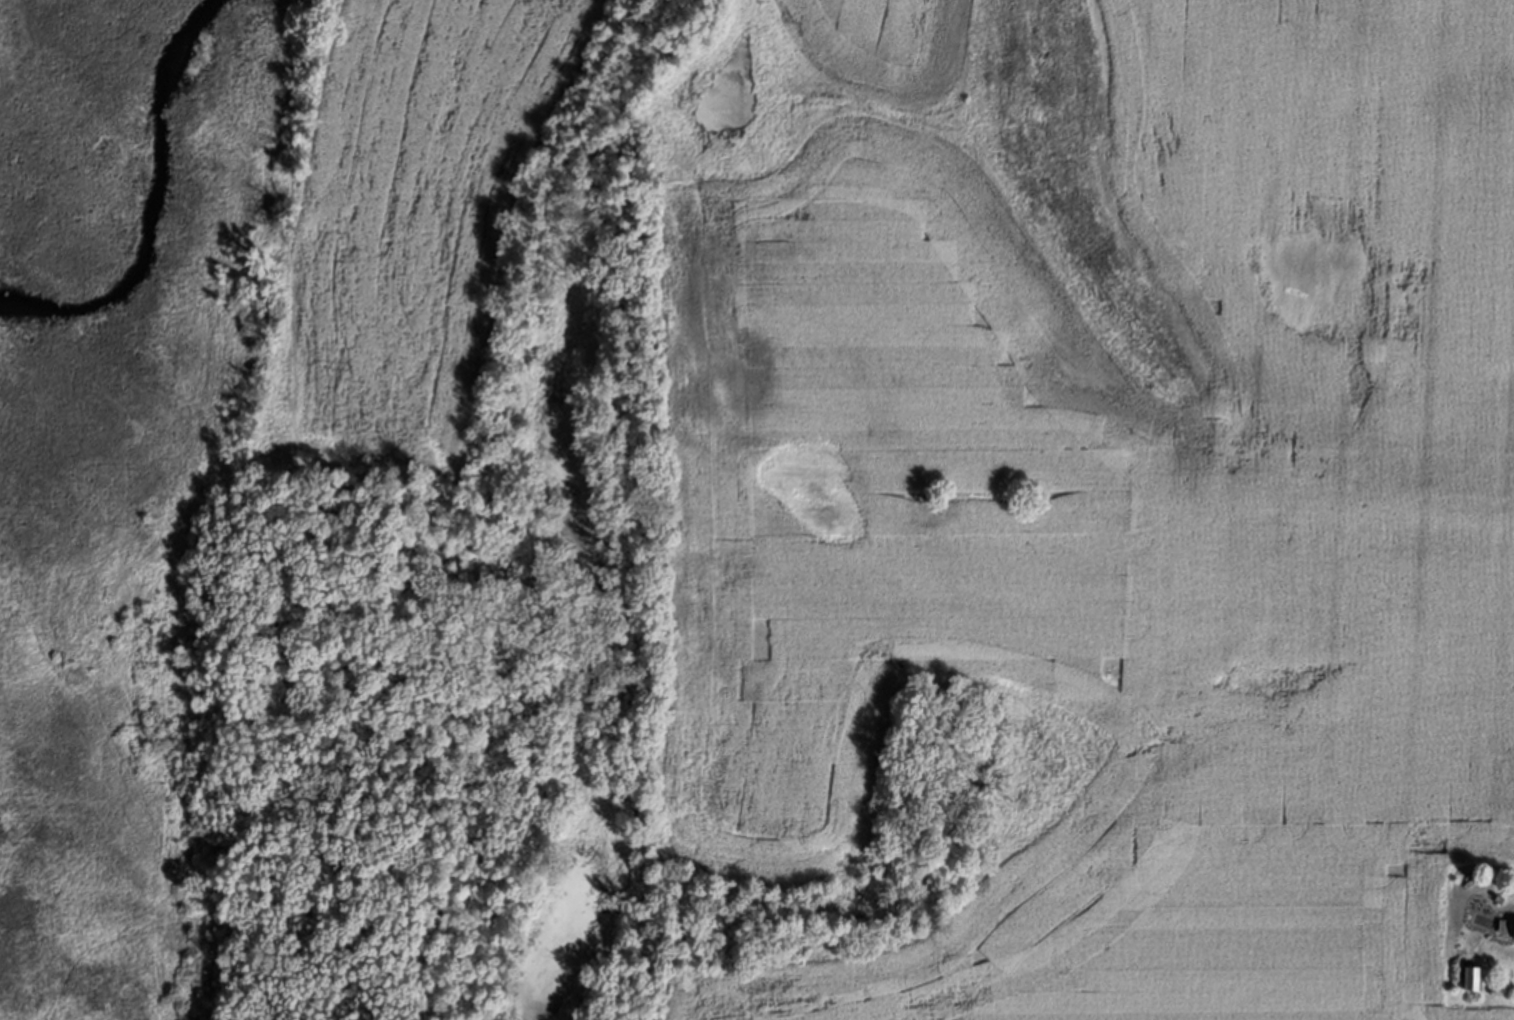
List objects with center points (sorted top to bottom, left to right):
building: (1468, 980)

